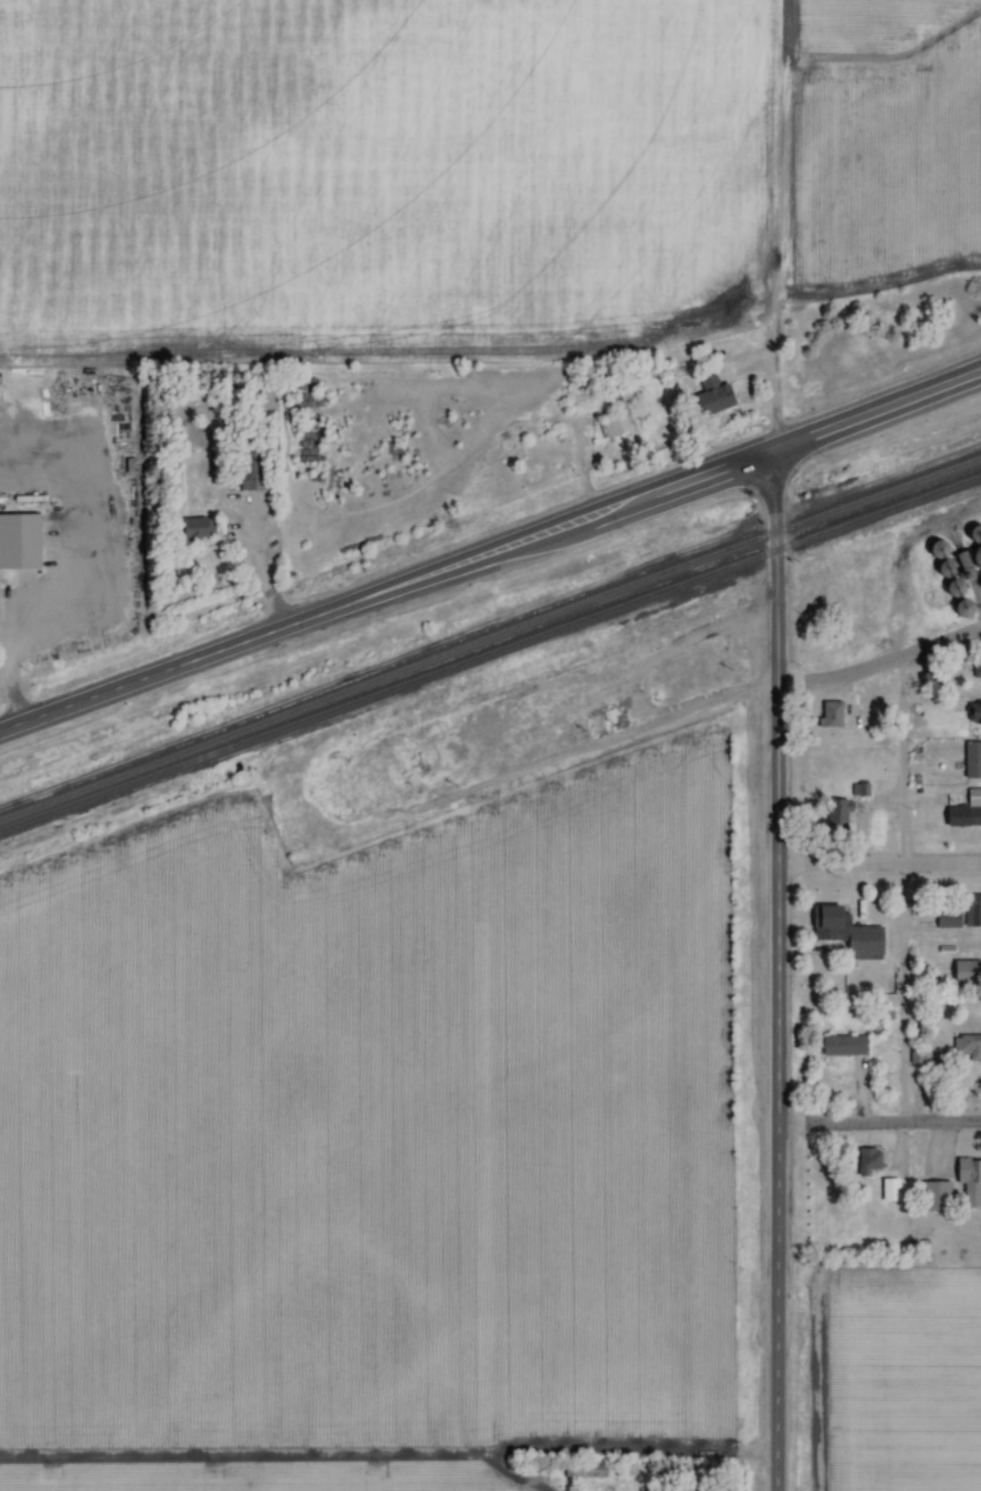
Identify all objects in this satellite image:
crop: (892, 162)
building: (717, 395)
building: (618, 427)
building: (252, 476)
building: (202, 530)
building: (19, 539)
road: (491, 554)
railway: (490, 638)
railway: (490, 654)
road: (881, 664)
building: (978, 668)
building: (978, 713)
building: (835, 715)
building: (605, 720)
building: (975, 760)
road: (347, 786)
building: (862, 791)
building: (965, 817)
building: (841, 818)
road: (881, 866)
road: (900, 891)
building: (975, 908)
building: (834, 918)
building: (870, 944)
building: (942, 952)
road: (781, 971)
building: (968, 972)
building: (849, 1047)
building: (969, 1047)
road: (880, 1123)
crop: (371, 1140)
building: (971, 1181)
building: (938, 1197)
crop: (907, 1381)
building: (590, 1472)

